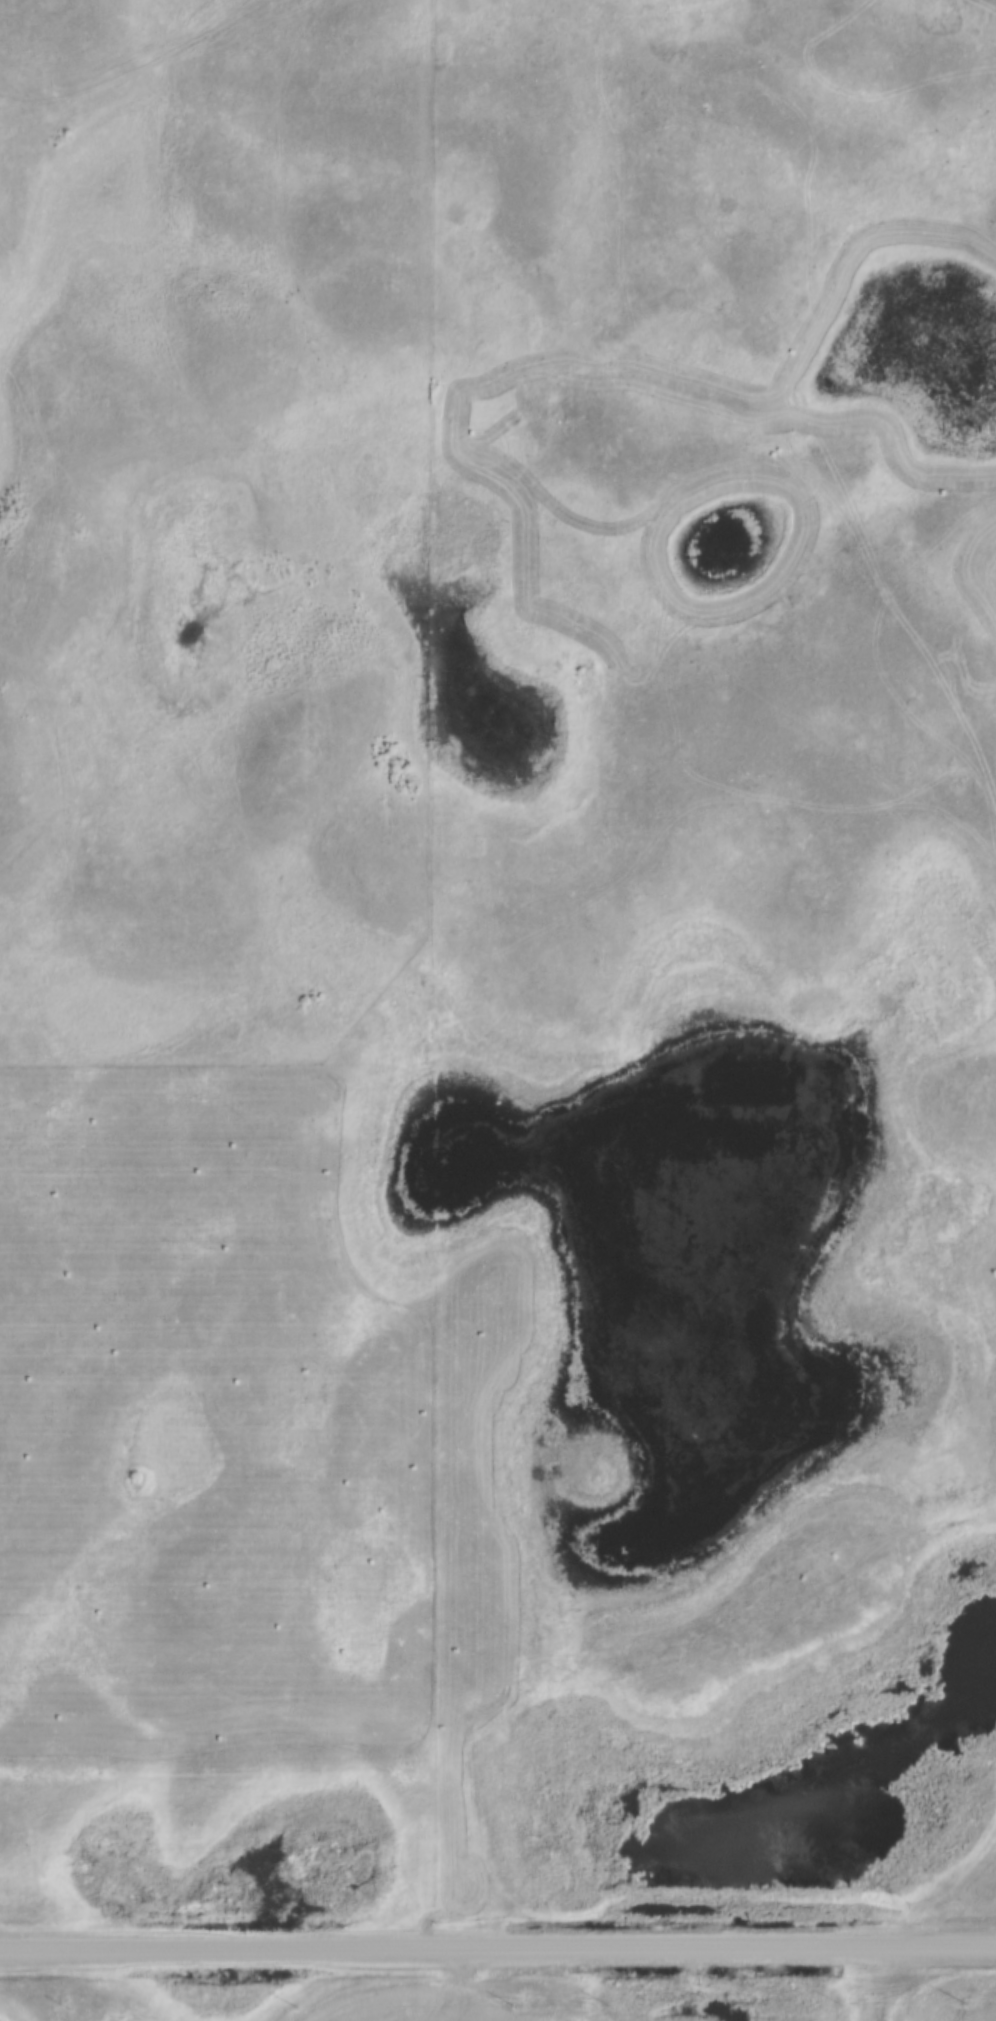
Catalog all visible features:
road: (497, 1947)

